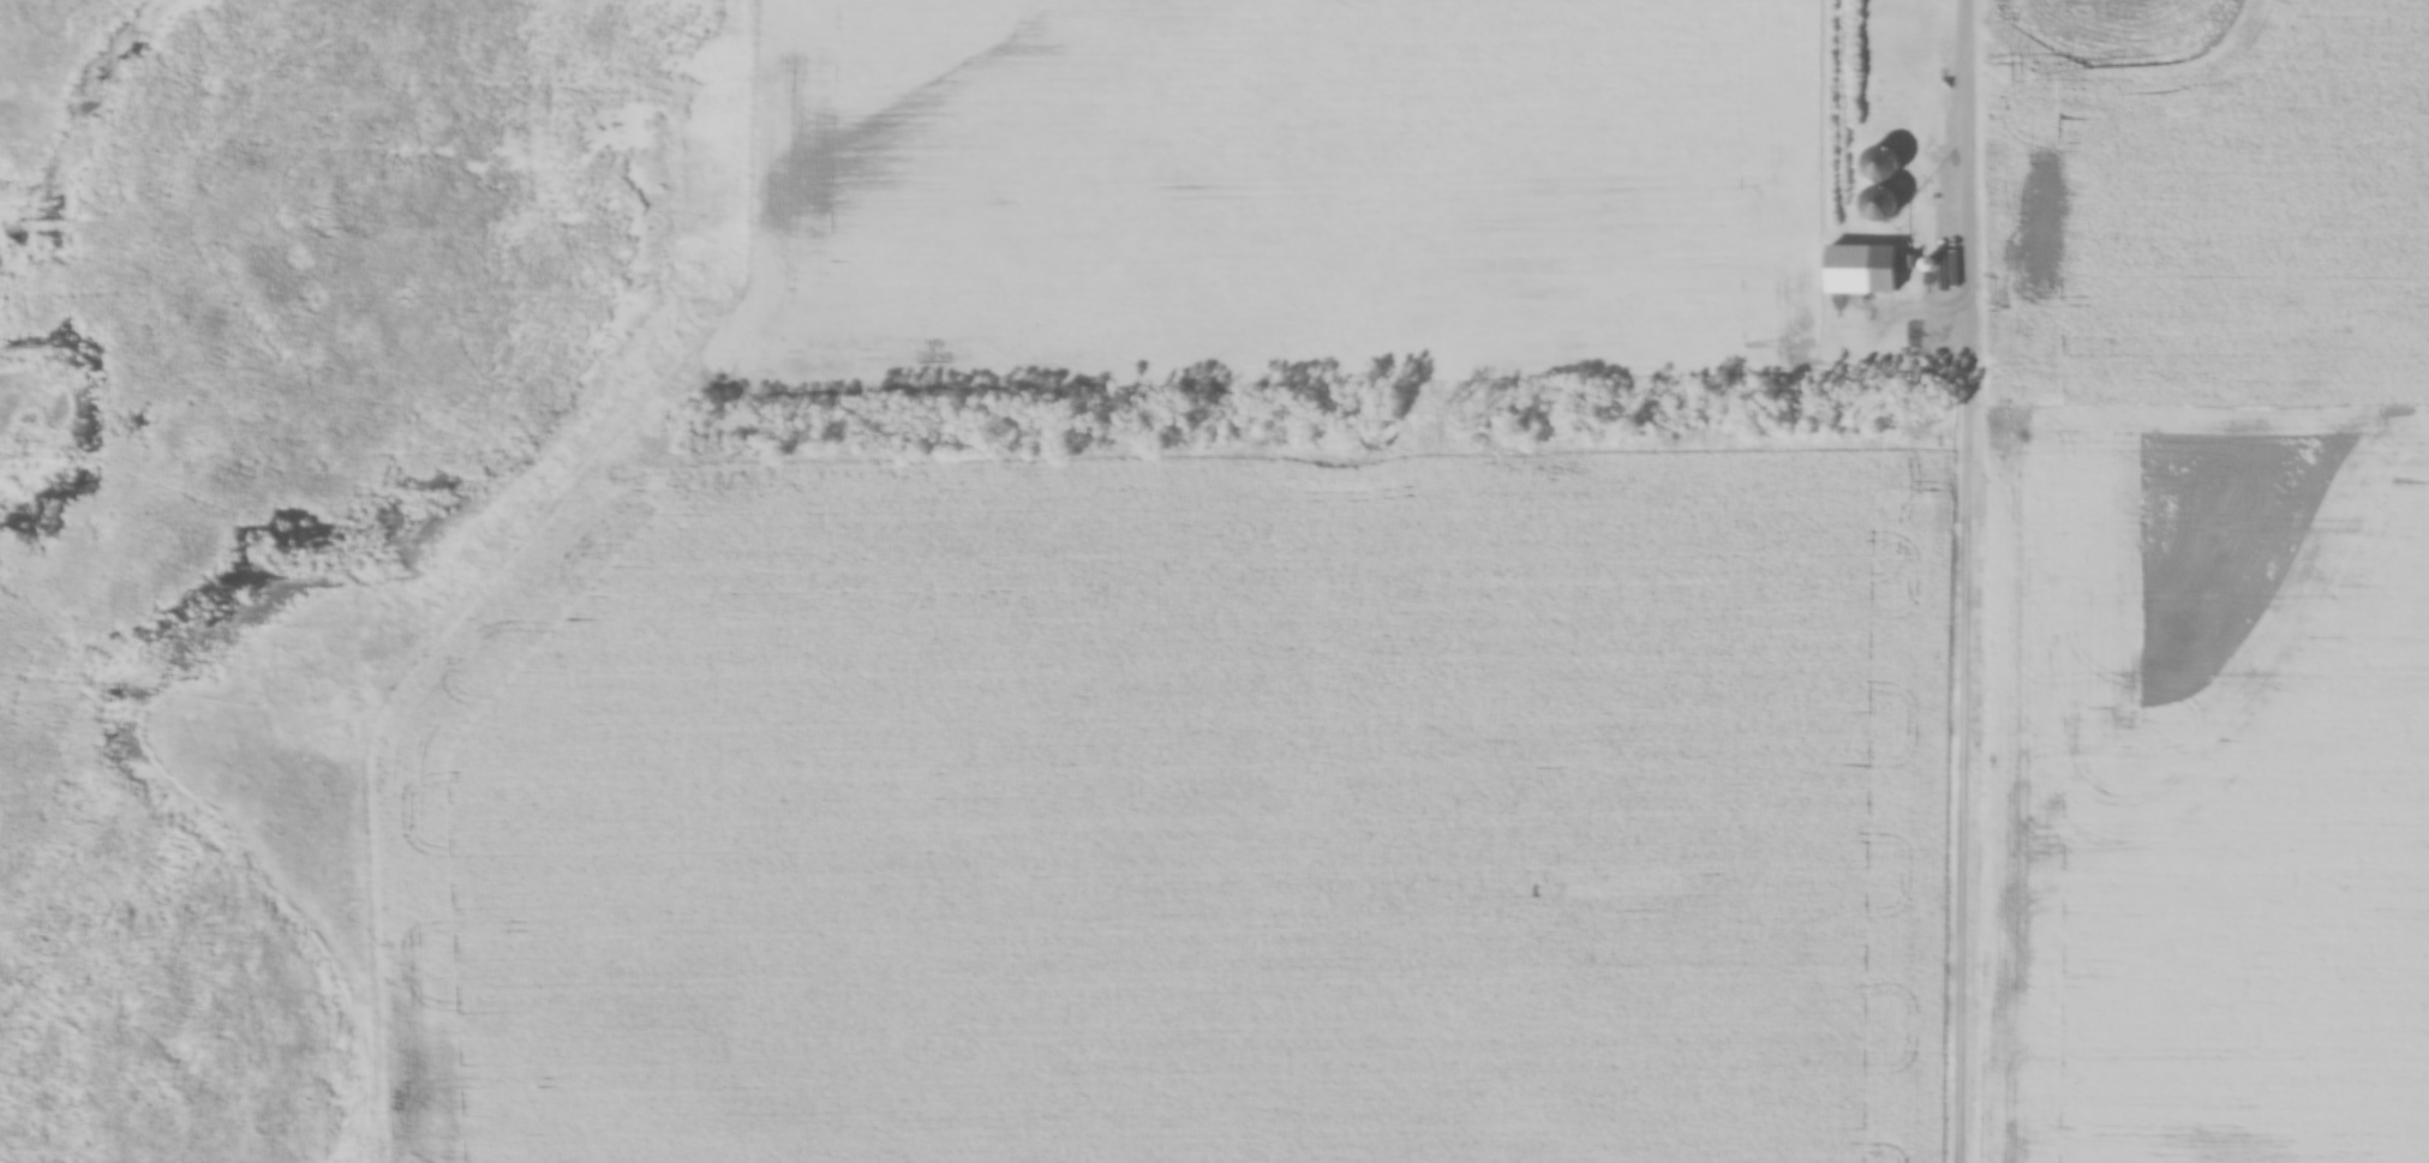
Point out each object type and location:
building: (1878, 163)
building: (1874, 206)
building: (1863, 270)
road: (1963, 581)
crop: (2204, 792)

